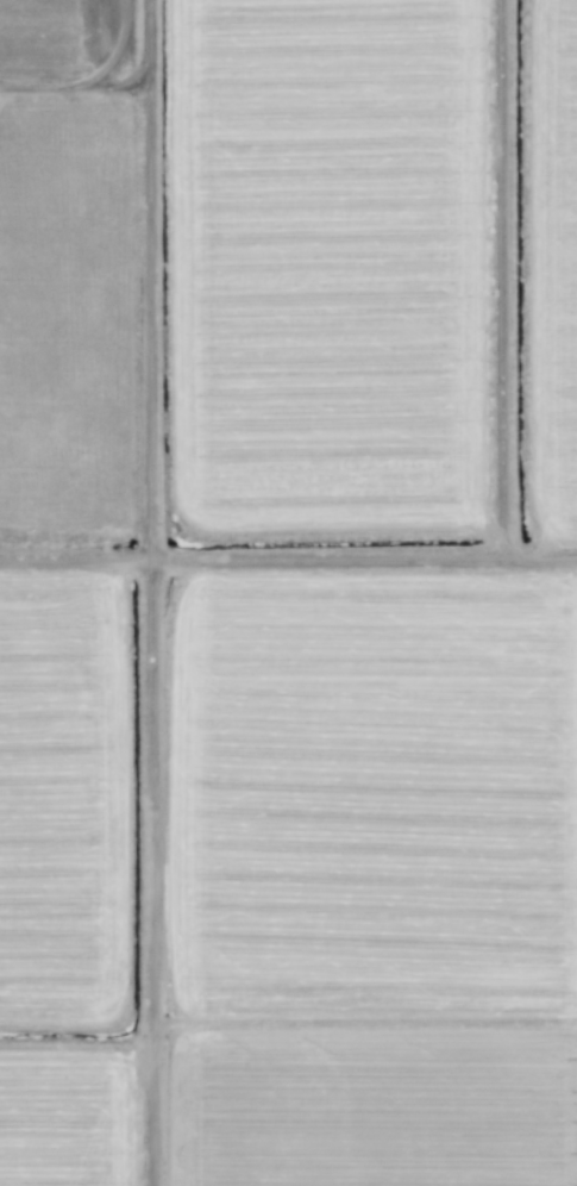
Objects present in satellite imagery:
road: (105, 49)
road: (79, 89)
road: (502, 282)
road: (288, 564)
road: (150, 593)

